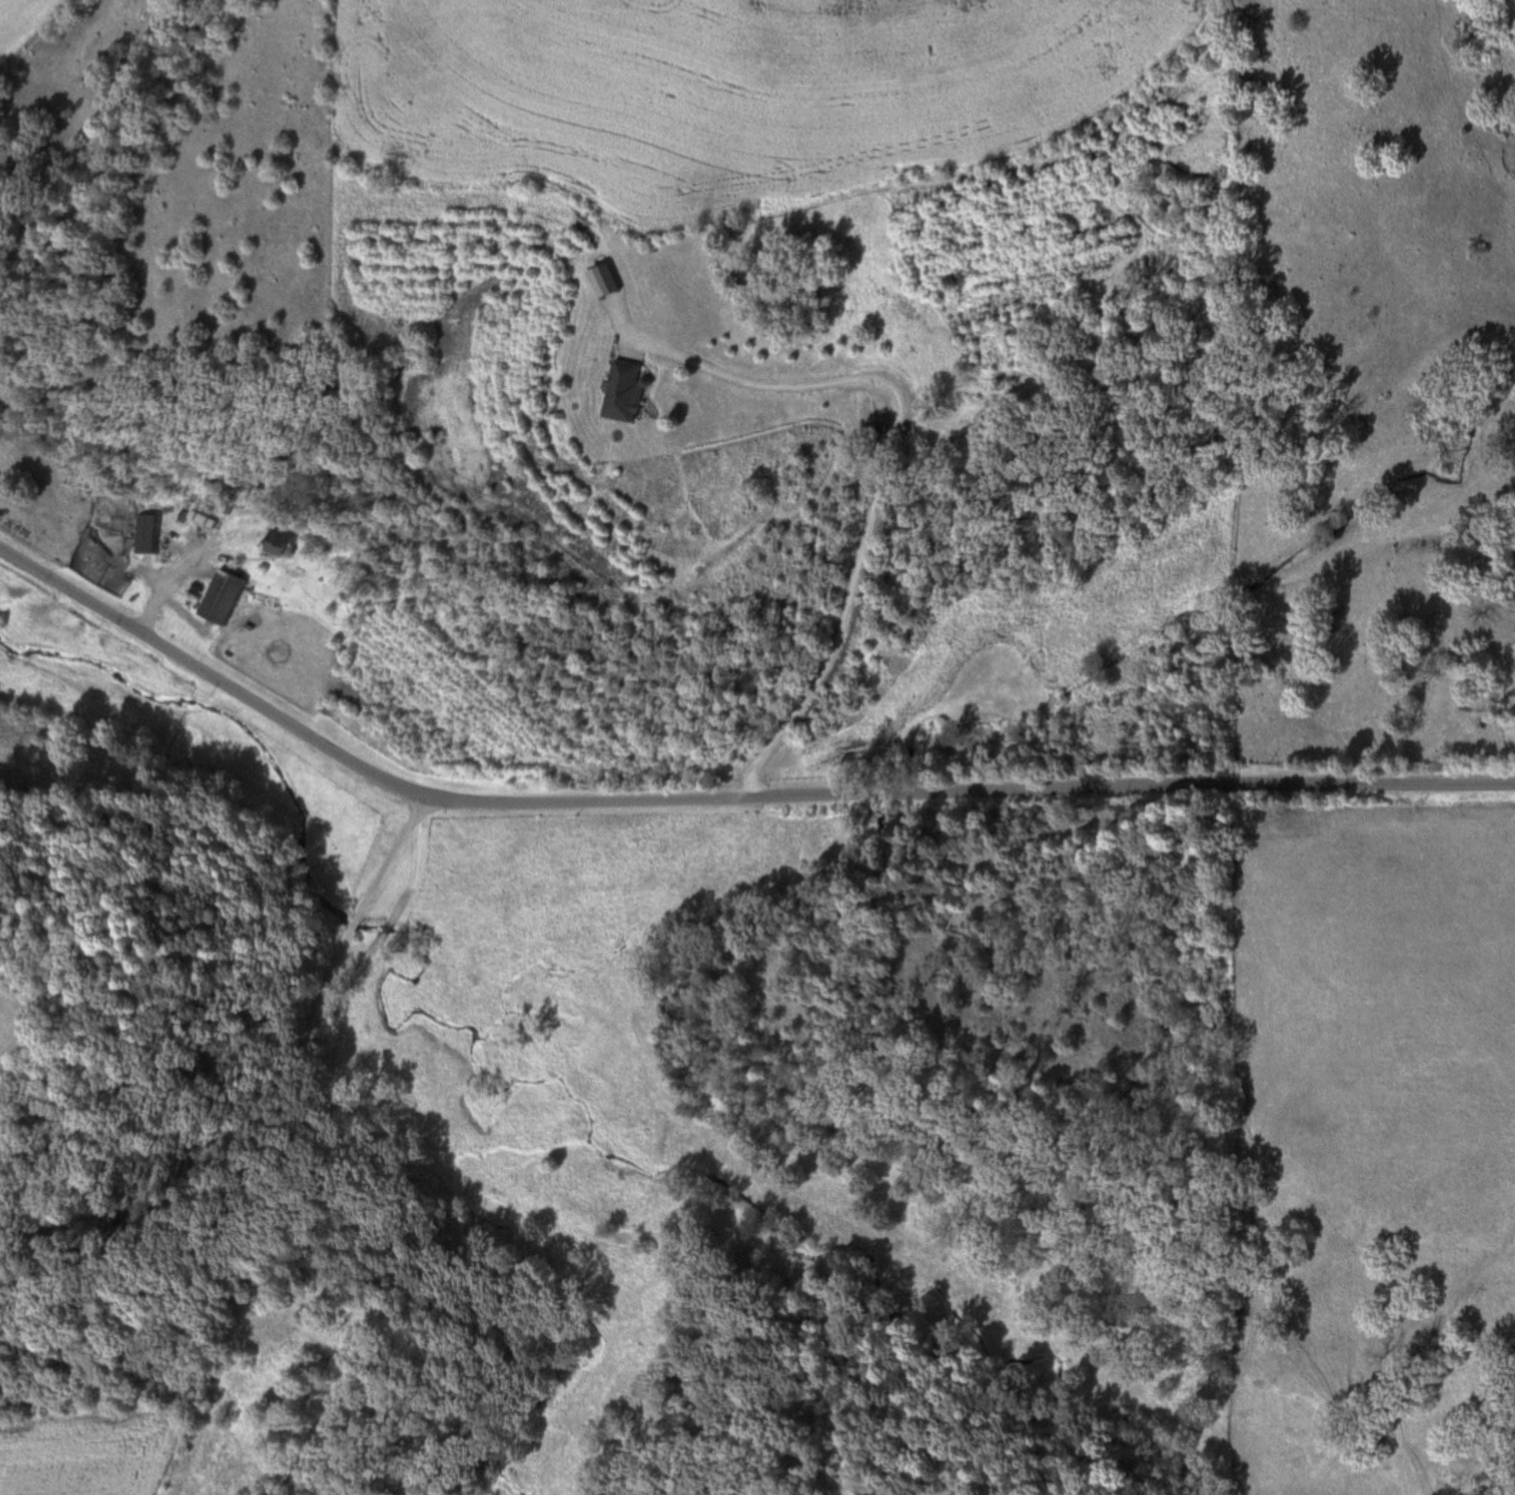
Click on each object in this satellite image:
building: (621, 393)
road: (880, 477)
road: (168, 589)
building: (218, 600)
road: (722, 797)
road: (274, 1086)

